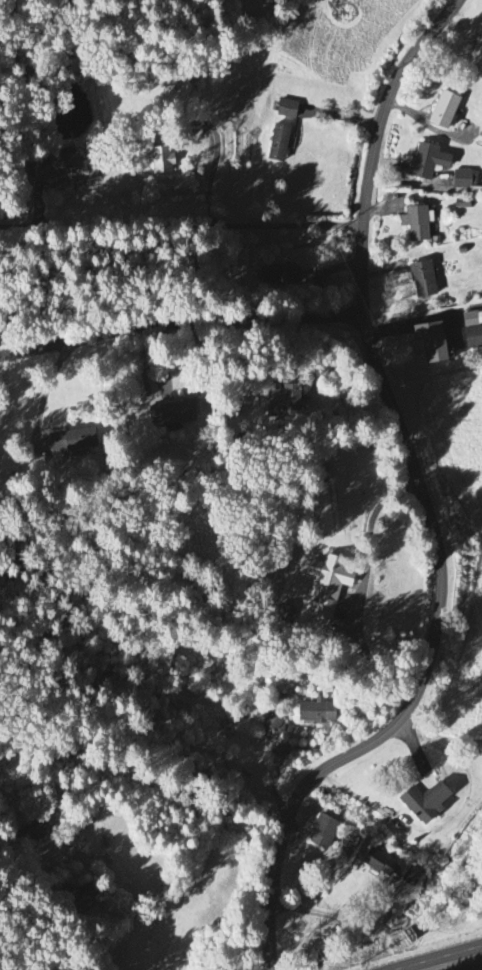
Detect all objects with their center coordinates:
building: (476, 59)
building: (287, 110)
building: (445, 111)
road: (342, 117)
building: (279, 144)
building: (161, 160)
building: (427, 162)
building: (55, 168)
building: (462, 180)
building: (416, 224)
road: (182, 226)
power tower: (331, 237)
building: (281, 276)
building: (423, 280)
road: (180, 319)
building: (472, 320)
building: (473, 339)
building: (431, 342)
power tower: (403, 386)
road: (46, 394)
building: (285, 402)
building: (173, 415)
building: (73, 441)
road: (425, 500)
road: (370, 541)
building: (327, 585)
building: (317, 713)
building: (275, 722)
building: (424, 804)
building: (35, 831)
building: (323, 833)
building: (379, 864)
building: (412, 879)
building: (84, 896)
road: (342, 919)
road: (81, 948)
road: (460, 964)

